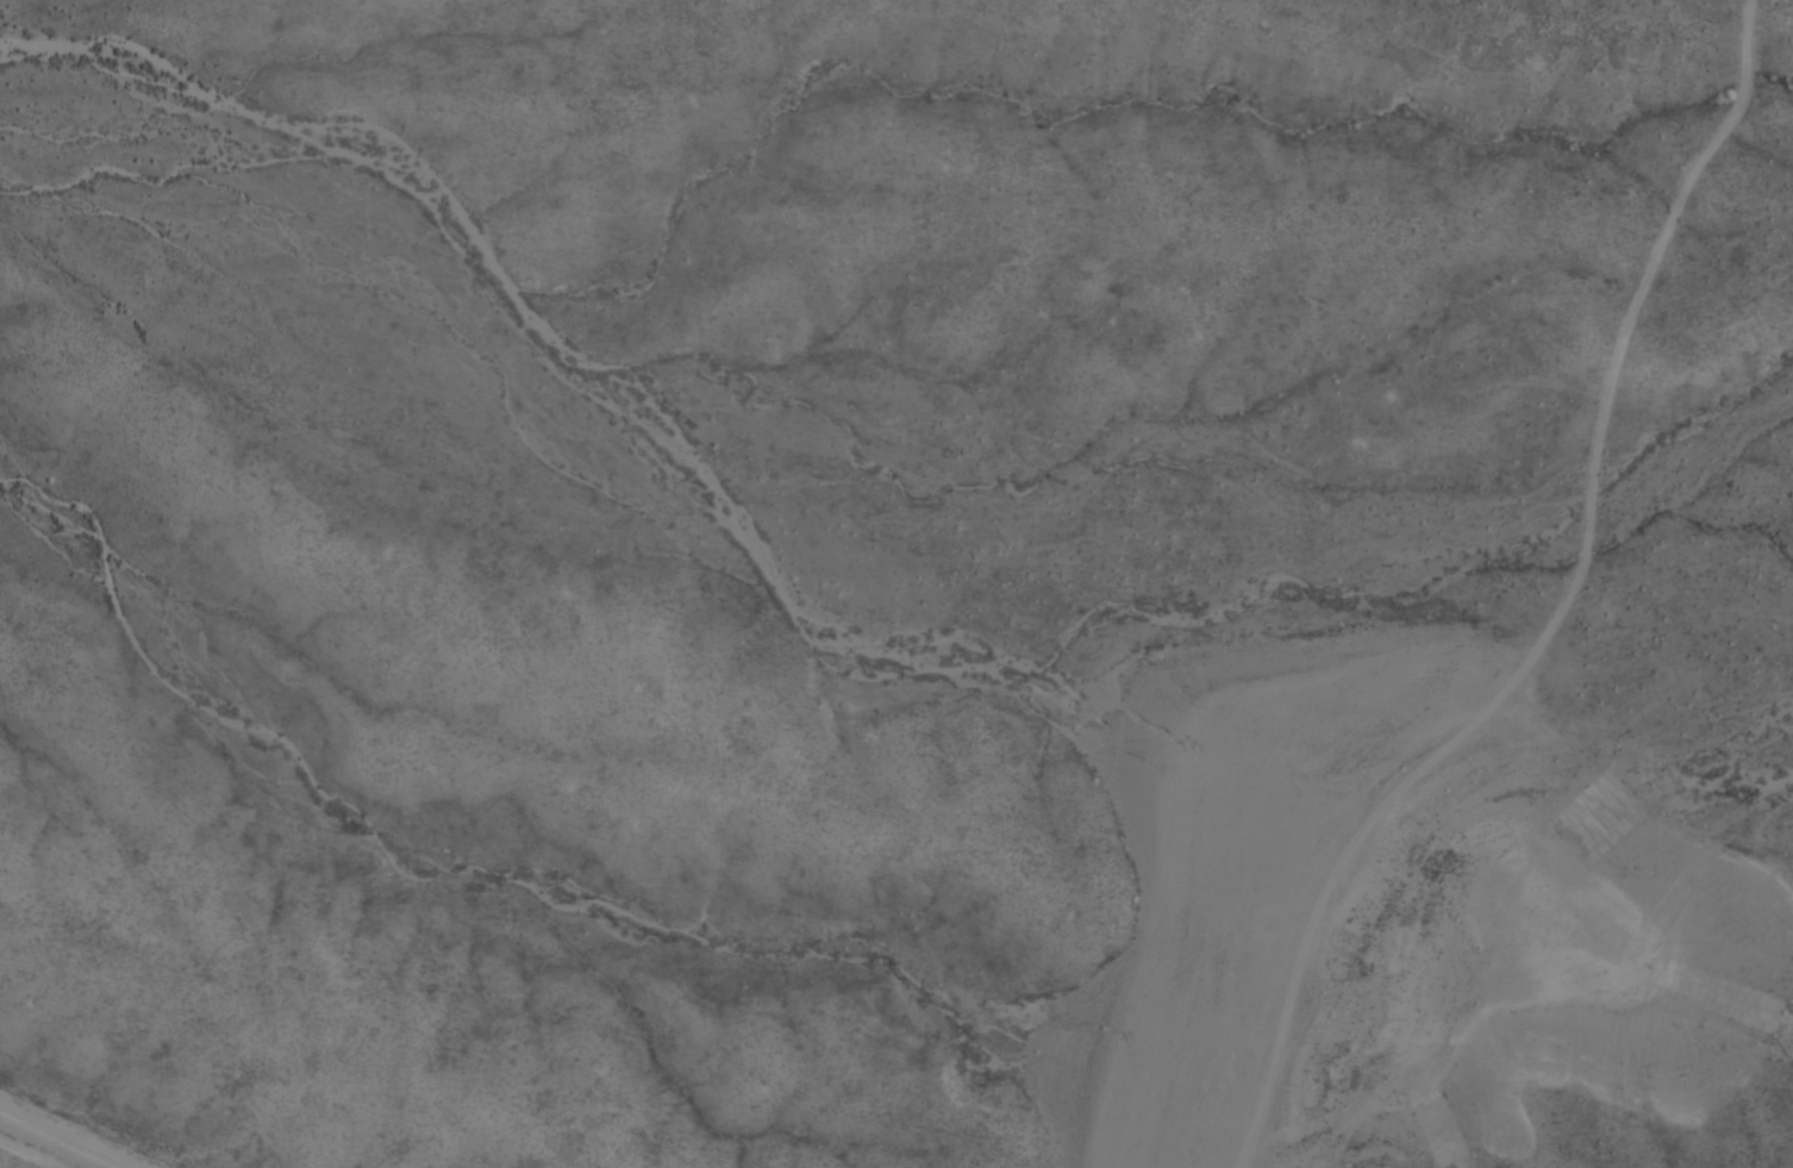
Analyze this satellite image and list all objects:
road: (1553, 614)
road: (75, 1132)

